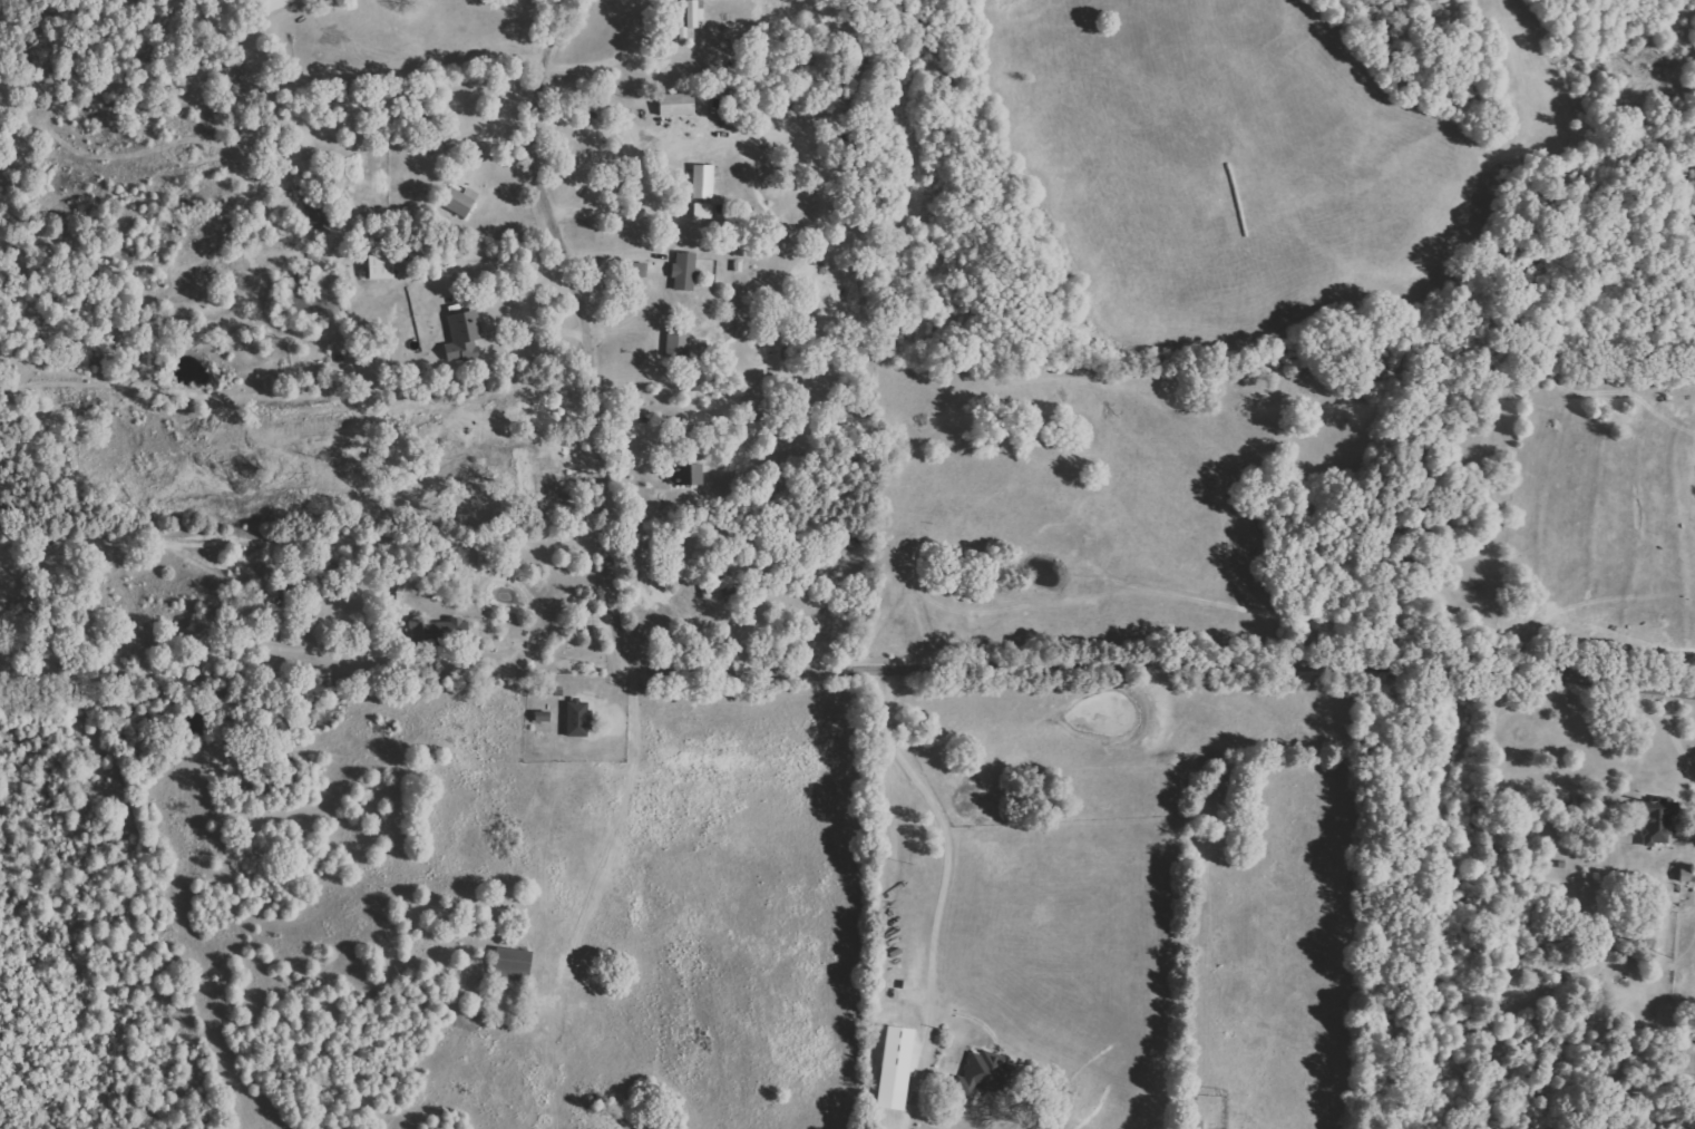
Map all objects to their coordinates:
building: (693, 13)
building: (675, 105)
road: (643, 160)
building: (703, 182)
building: (459, 201)
building: (703, 211)
building: (380, 266)
building: (683, 272)
building: (464, 337)
building: (678, 341)
building: (688, 476)
road: (548, 638)
road: (825, 670)
building: (577, 718)
building: (1656, 821)
road: (954, 866)
building: (1687, 875)
building: (895, 1068)
building: (981, 1074)

